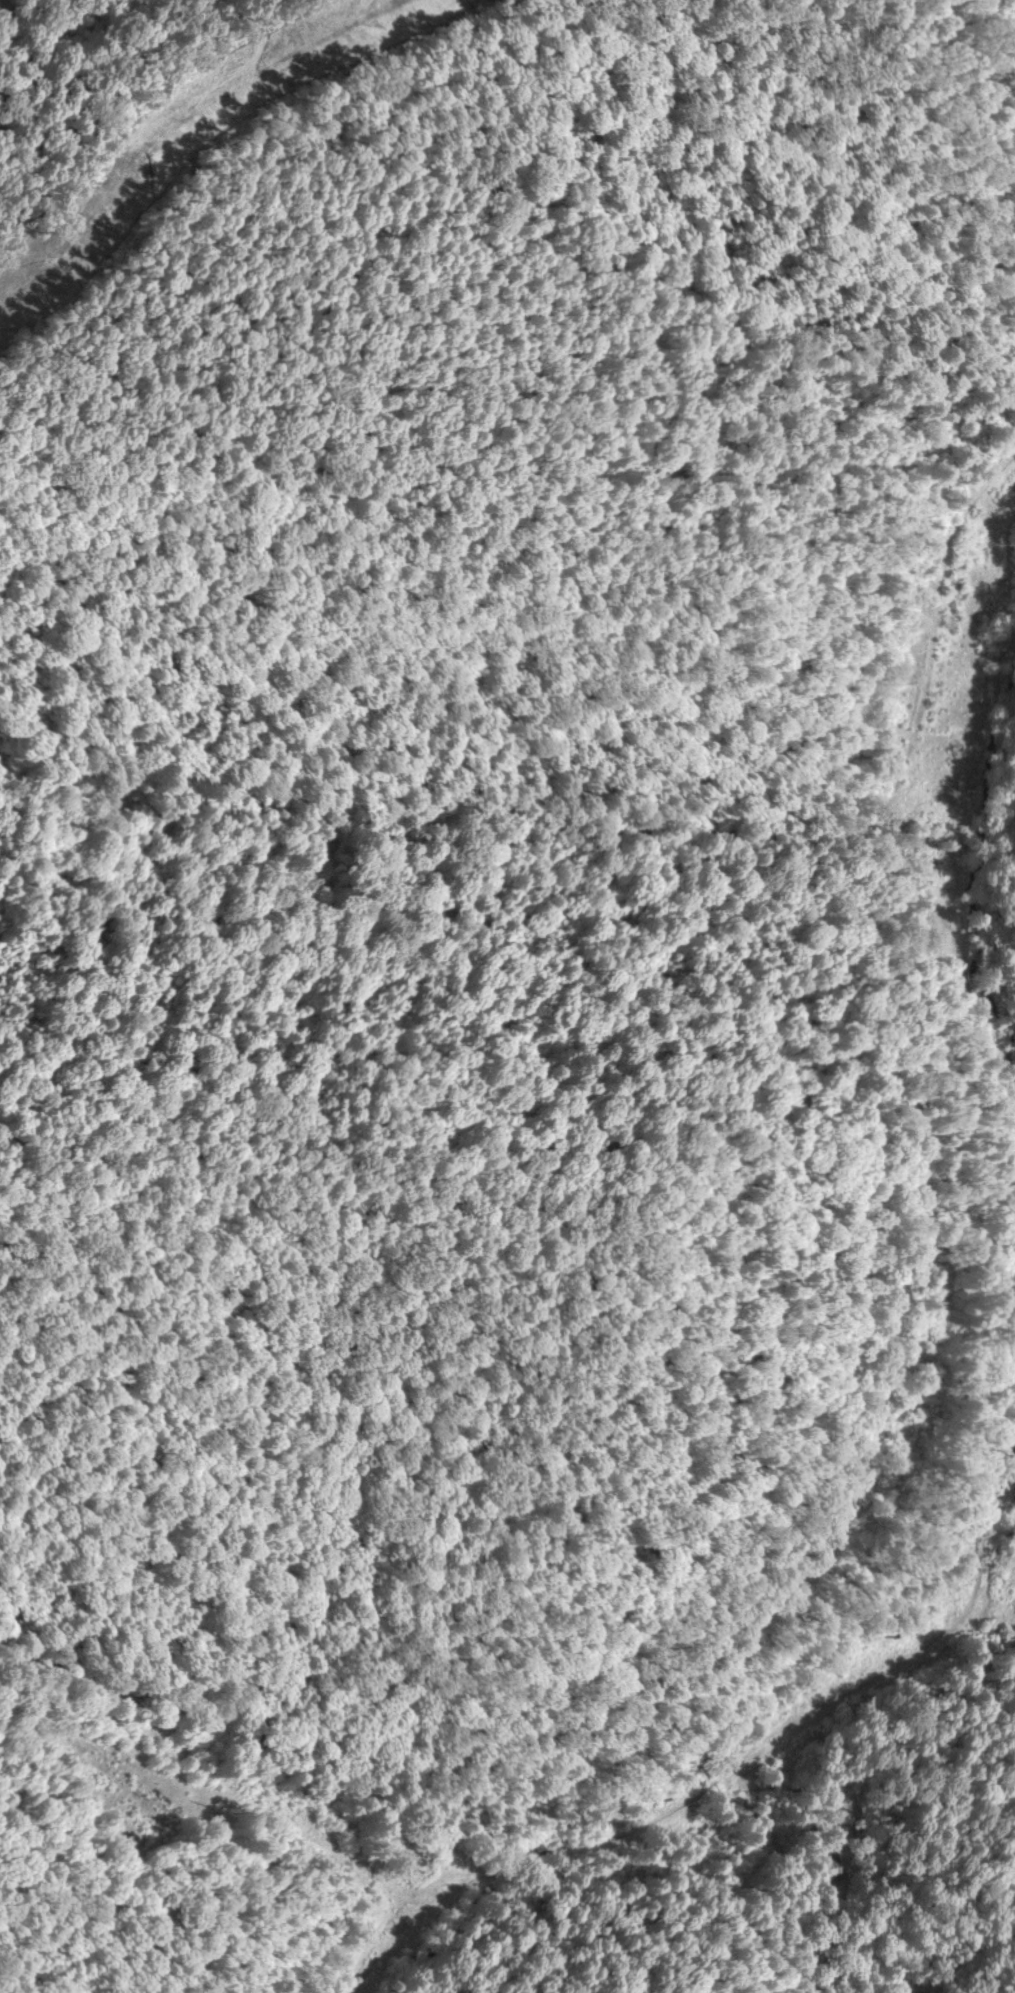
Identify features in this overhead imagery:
building: (829, 1867)

